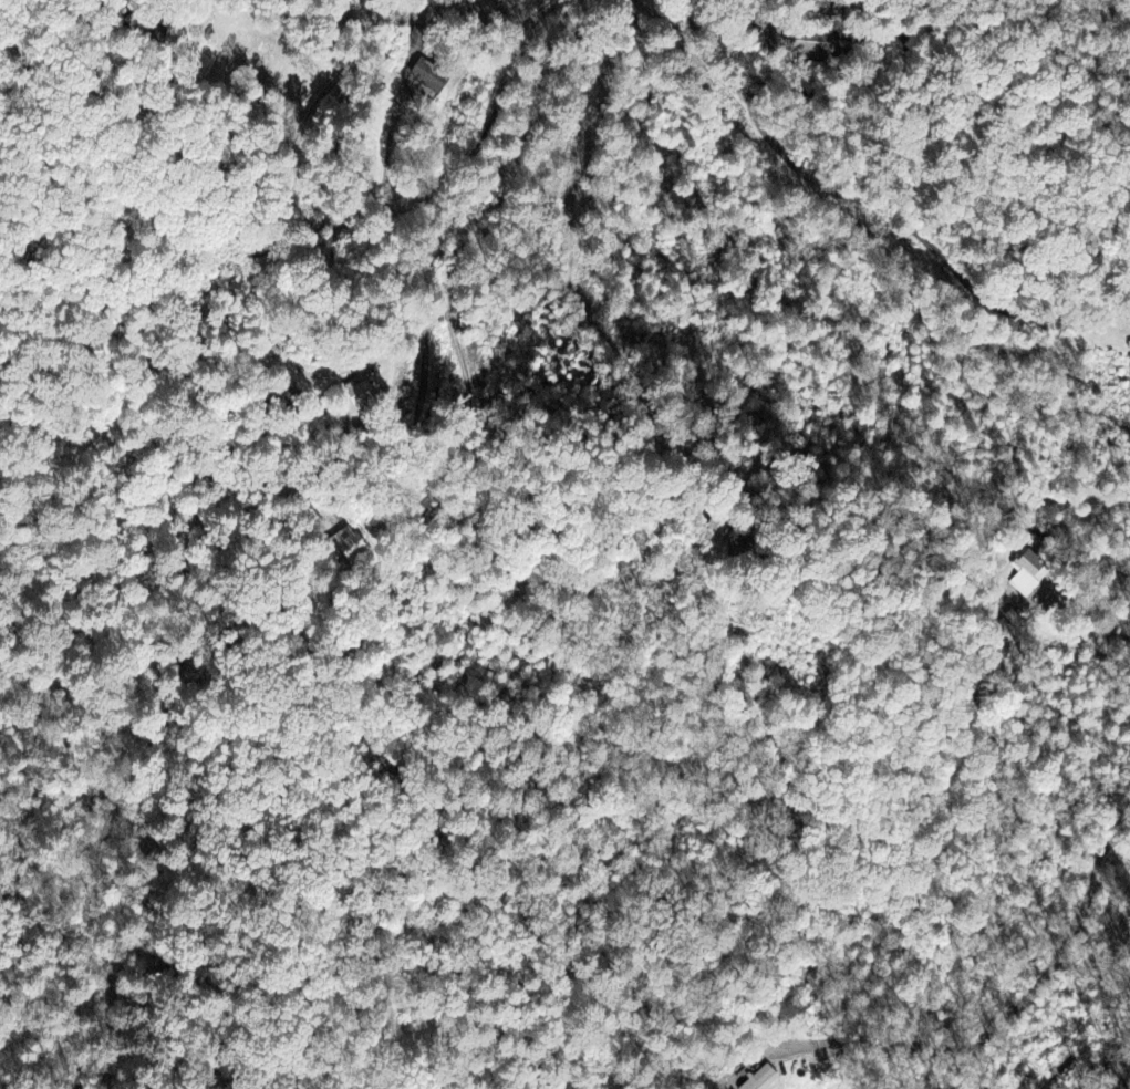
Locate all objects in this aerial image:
road: (695, 50)
road: (798, 168)
road: (411, 200)
building: (363, 396)

